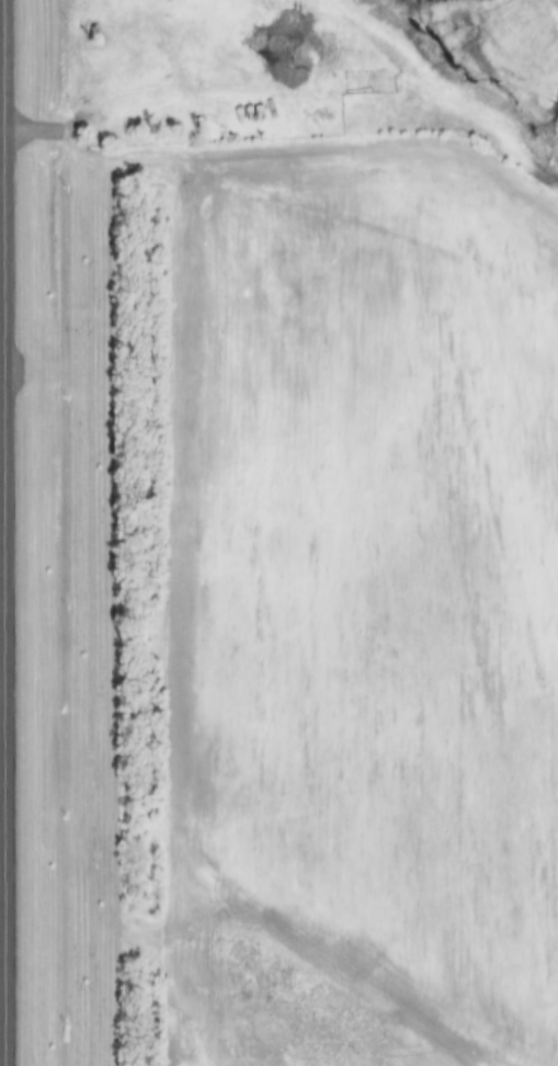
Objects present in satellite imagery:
road: (91, 104)
road: (10, 124)
road: (5, 138)
road: (286, 159)
road: (4, 919)

